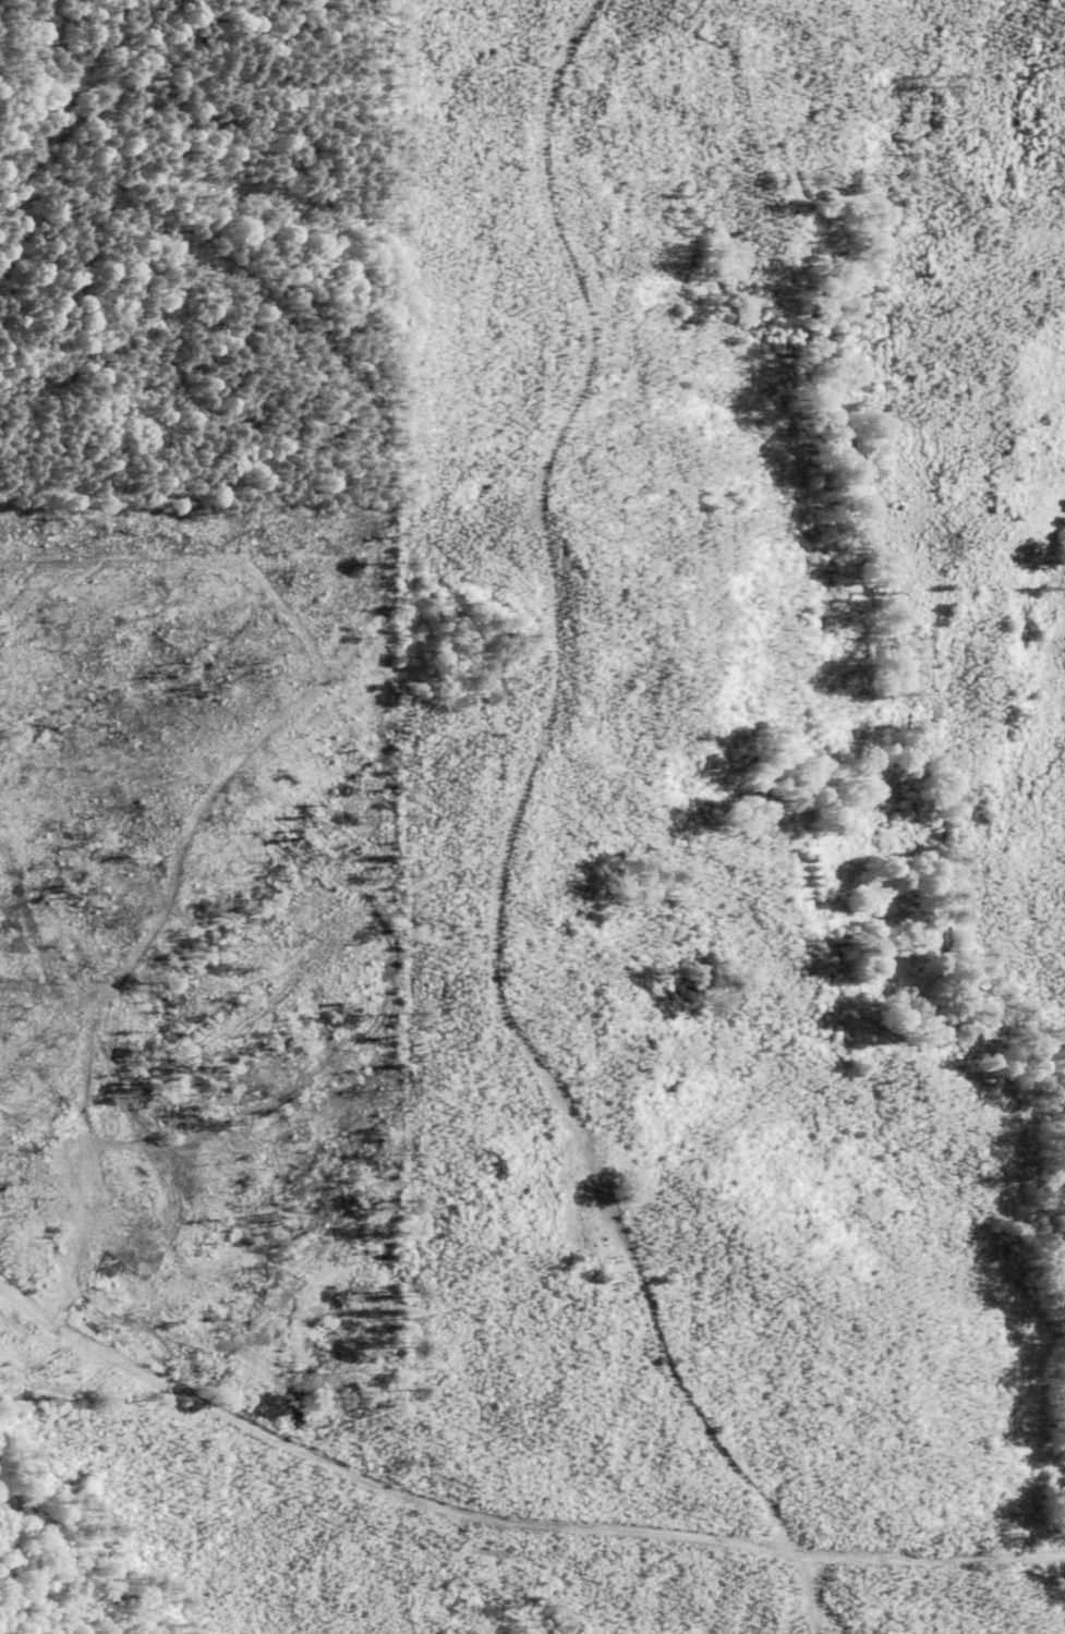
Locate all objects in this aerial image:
road: (508, 1545)

